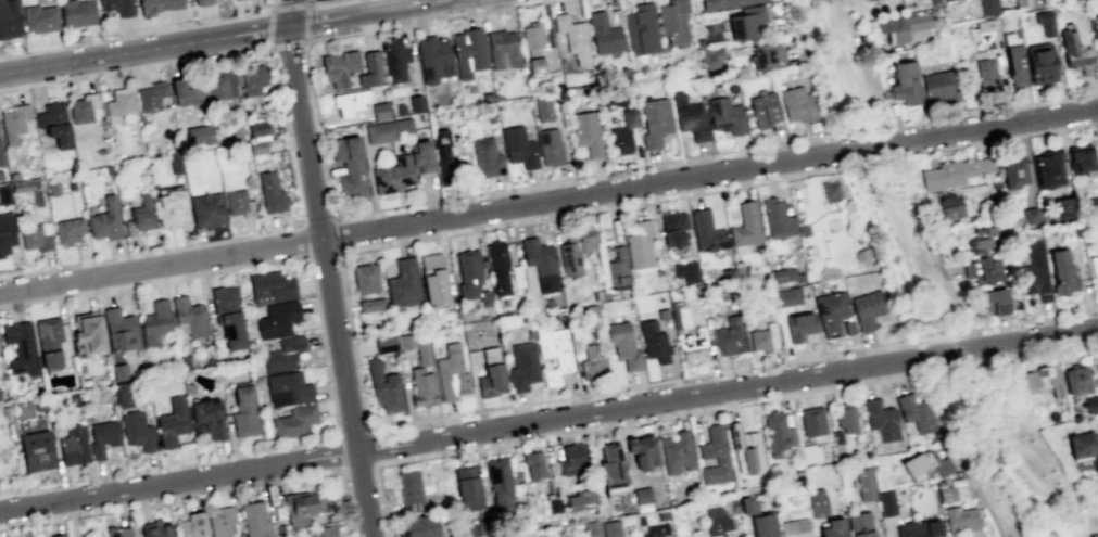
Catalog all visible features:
building: (864, 0)
building: (202, 2)
road: (326, 3)
building: (723, 3)
building: (157, 4)
building: (117, 7)
building: (988, 7)
road: (270, 10)
building: (76, 12)
road: (290, 12)
road: (364, 12)
building: (9, 18)
building: (39, 18)
building: (672, 21)
building: (746, 21)
building: (1045, 22)
building: (901, 27)
building: (641, 29)
road: (362, 31)
building: (1095, 31)
building: (986, 33)
road: (141, 34)
building: (603, 34)
building: (572, 37)
building: (503, 49)
building: (532, 49)
road: (144, 50)
building: (468, 52)
building: (1075, 53)
building: (768, 55)
building: (710, 56)
building: (433, 57)
building: (394, 60)
building: (1040, 63)
building: (339, 66)
building: (1015, 66)
road: (132, 67)
building: (370, 69)
building: (986, 73)
building: (252, 79)
building: (905, 82)
building: (220, 86)
building: (938, 86)
road: (819, 89)
building: (187, 90)
road: (874, 90)
building: (151, 95)
building: (485, 95)
building: (616, 97)
building: (350, 102)
building: (118, 103)
building: (415, 103)
building: (796, 104)
building: (763, 106)
building: (83, 107)
building: (399, 108)
building: (543, 108)
building: (379, 111)
building: (725, 115)
building: (628, 117)
building: (690, 117)
building: (654, 120)
building: (14, 123)
building: (54, 123)
building: (257, 129)
building: (386, 129)
building: (586, 132)
building: (236, 133)
building: (197, 136)
building: (439, 136)
building: (619, 140)
road: (985, 141)
building: (519, 146)
building: (550, 146)
building: (257, 151)
road: (714, 153)
building: (421, 156)
building: (1, 157)
building: (485, 157)
building: (1080, 157)
building: (175, 164)
building: (443, 164)
building: (349, 168)
building: (106, 169)
road: (875, 169)
building: (1048, 169)
building: (1012, 171)
building: (954, 172)
building: (0, 175)
building: (13, 176)
building: (393, 176)
building: (71, 184)
building: (28, 189)
building: (52, 189)
building: (830, 191)
building: (269, 192)
building: (3, 194)
road: (548, 201)
building: (240, 203)
building: (1093, 204)
building: (1064, 206)
building: (169, 207)
building: (948, 207)
building: (206, 209)
building: (141, 213)
building: (1030, 215)
building: (777, 218)
building: (105, 219)
road: (316, 221)
building: (745, 225)
building: (1095, 226)
building: (672, 228)
building: (803, 229)
building: (68, 230)
building: (706, 231)
building: (7, 232)
building: (34, 238)
building: (983, 238)
building: (639, 244)
building: (575, 248)
road: (150, 252)
building: (540, 263)
building: (1094, 264)
building: (497, 266)
building: (616, 267)
building: (982, 269)
building: (684, 271)
building: (1060, 271)
building: (1034, 272)
road: (943, 273)
building: (786, 274)
building: (516, 276)
building: (470, 277)
building: (365, 279)
building: (433, 279)
road: (328, 281)
building: (403, 283)
building: (270, 286)
park: (933, 287)
building: (786, 296)
building: (993, 301)
building: (370, 305)
building: (867, 309)
building: (588, 310)
building: (831, 311)
building: (661, 312)
building: (189, 316)
building: (228, 316)
building: (680, 316)
road: (1036, 318)
building: (277, 319)
building: (154, 323)
building: (799, 325)
building: (848, 327)
road: (968, 329)
building: (119, 330)
road: (954, 331)
building: (88, 334)
building: (730, 336)
building: (762, 337)
building: (48, 341)
building: (405, 341)
building: (653, 342)
building: (383, 344)
building: (693, 344)
building: (623, 345)
building: (21, 347)
road: (959, 348)
building: (553, 351)
building: (422, 353)
building: (283, 354)
road: (1036, 354)
building: (592, 356)
building: (1097, 365)
building: (521, 367)
building: (119, 371)
building: (451, 373)
building: (490, 373)
building: (1040, 380)
building: (1076, 380)
road: (657, 381)
building: (383, 387)
building: (421, 387)
building: (287, 388)
building: (123, 394)
building: (103, 395)
building: (243, 411)
building: (917, 412)
building: (845, 417)
building: (206, 418)
road: (548, 418)
building: (881, 420)
building: (294, 421)
road: (640, 421)
building: (811, 421)
building: (172, 422)
building: (137, 431)
building: (777, 434)
building: (835, 436)
building: (102, 437)
building: (73, 445)
building: (744, 448)
building: (36, 450)
building: (1083, 450)
building: (676, 451)
building: (809, 452)
building: (643, 453)
building: (714, 456)
road: (1017, 458)
building: (571, 459)
building: (532, 464)
building: (925, 465)
building: (611, 471)
building: (498, 480)
building: (864, 484)
building: (467, 487)
road: (980, 489)
building: (409, 490)
building: (946, 494)
building: (641, 495)
building: (578, 499)
building: (816, 502)
building: (886, 502)
building: (746, 504)
building: (302, 507)
building: (662, 514)
building: (960, 519)
building: (220, 520)
building: (254, 520)
building: (639, 520)
building: (715, 521)
building: (859, 524)
building: (190, 525)
building: (762, 525)
building: (419, 526)
building: (591, 527)
building: (794, 527)
building: (156, 528)
building: (610, 528)
building: (687, 528)
building: (833, 528)
building: (919, 528)
building: (321, 530)
building: (117, 532)
road: (1074, 533)
building: (58, 535)
building: (734, 536)

